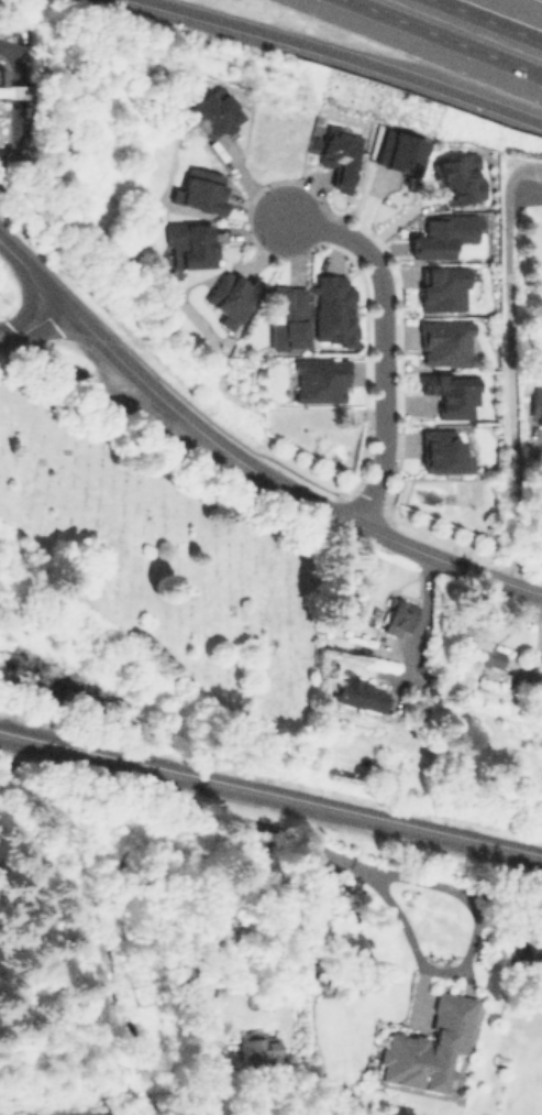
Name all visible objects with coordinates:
road: (488, 21)
road: (444, 37)
road: (347, 55)
building: (200, 189)
building: (189, 243)
building: (443, 287)
building: (230, 297)
building: (333, 308)
building: (287, 316)
road: (33, 326)
building: (445, 342)
road: (381, 343)
road: (104, 347)
road: (508, 362)
building: (320, 379)
road: (107, 393)
building: (452, 393)
building: (537, 409)
building: (443, 451)
road: (527, 466)
road: (372, 533)
building: (397, 616)
road: (423, 617)
building: (485, 655)
building: (358, 692)
railway: (270, 792)
road: (126, 795)
road: (422, 960)
building: (255, 1046)
building: (429, 1046)

